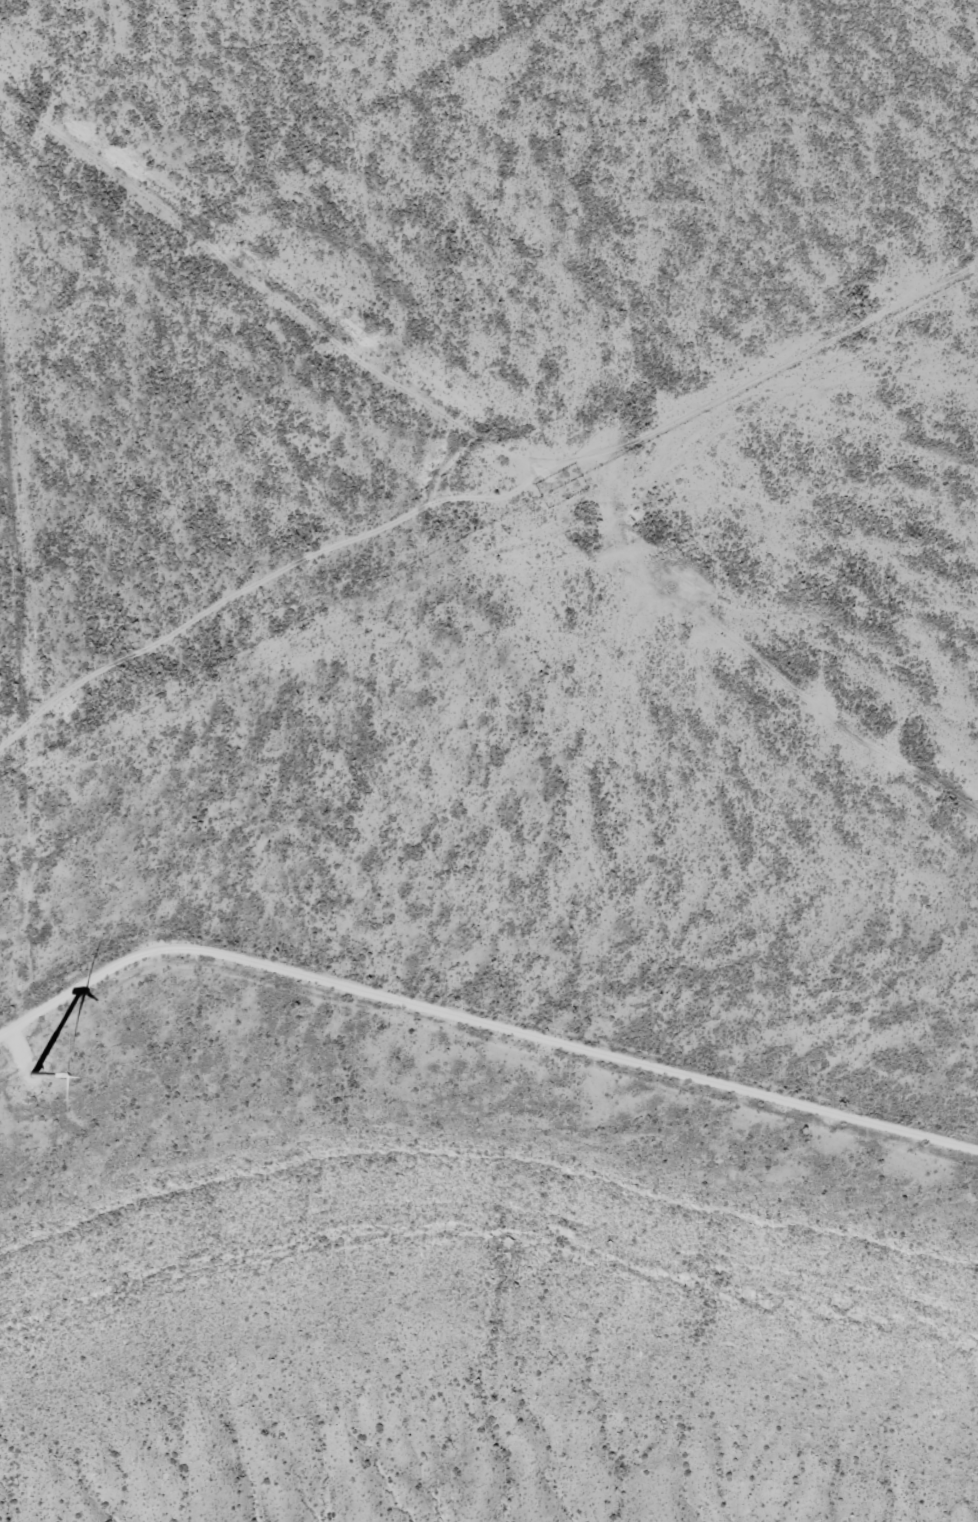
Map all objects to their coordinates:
wind turbine: (30, 1069)

